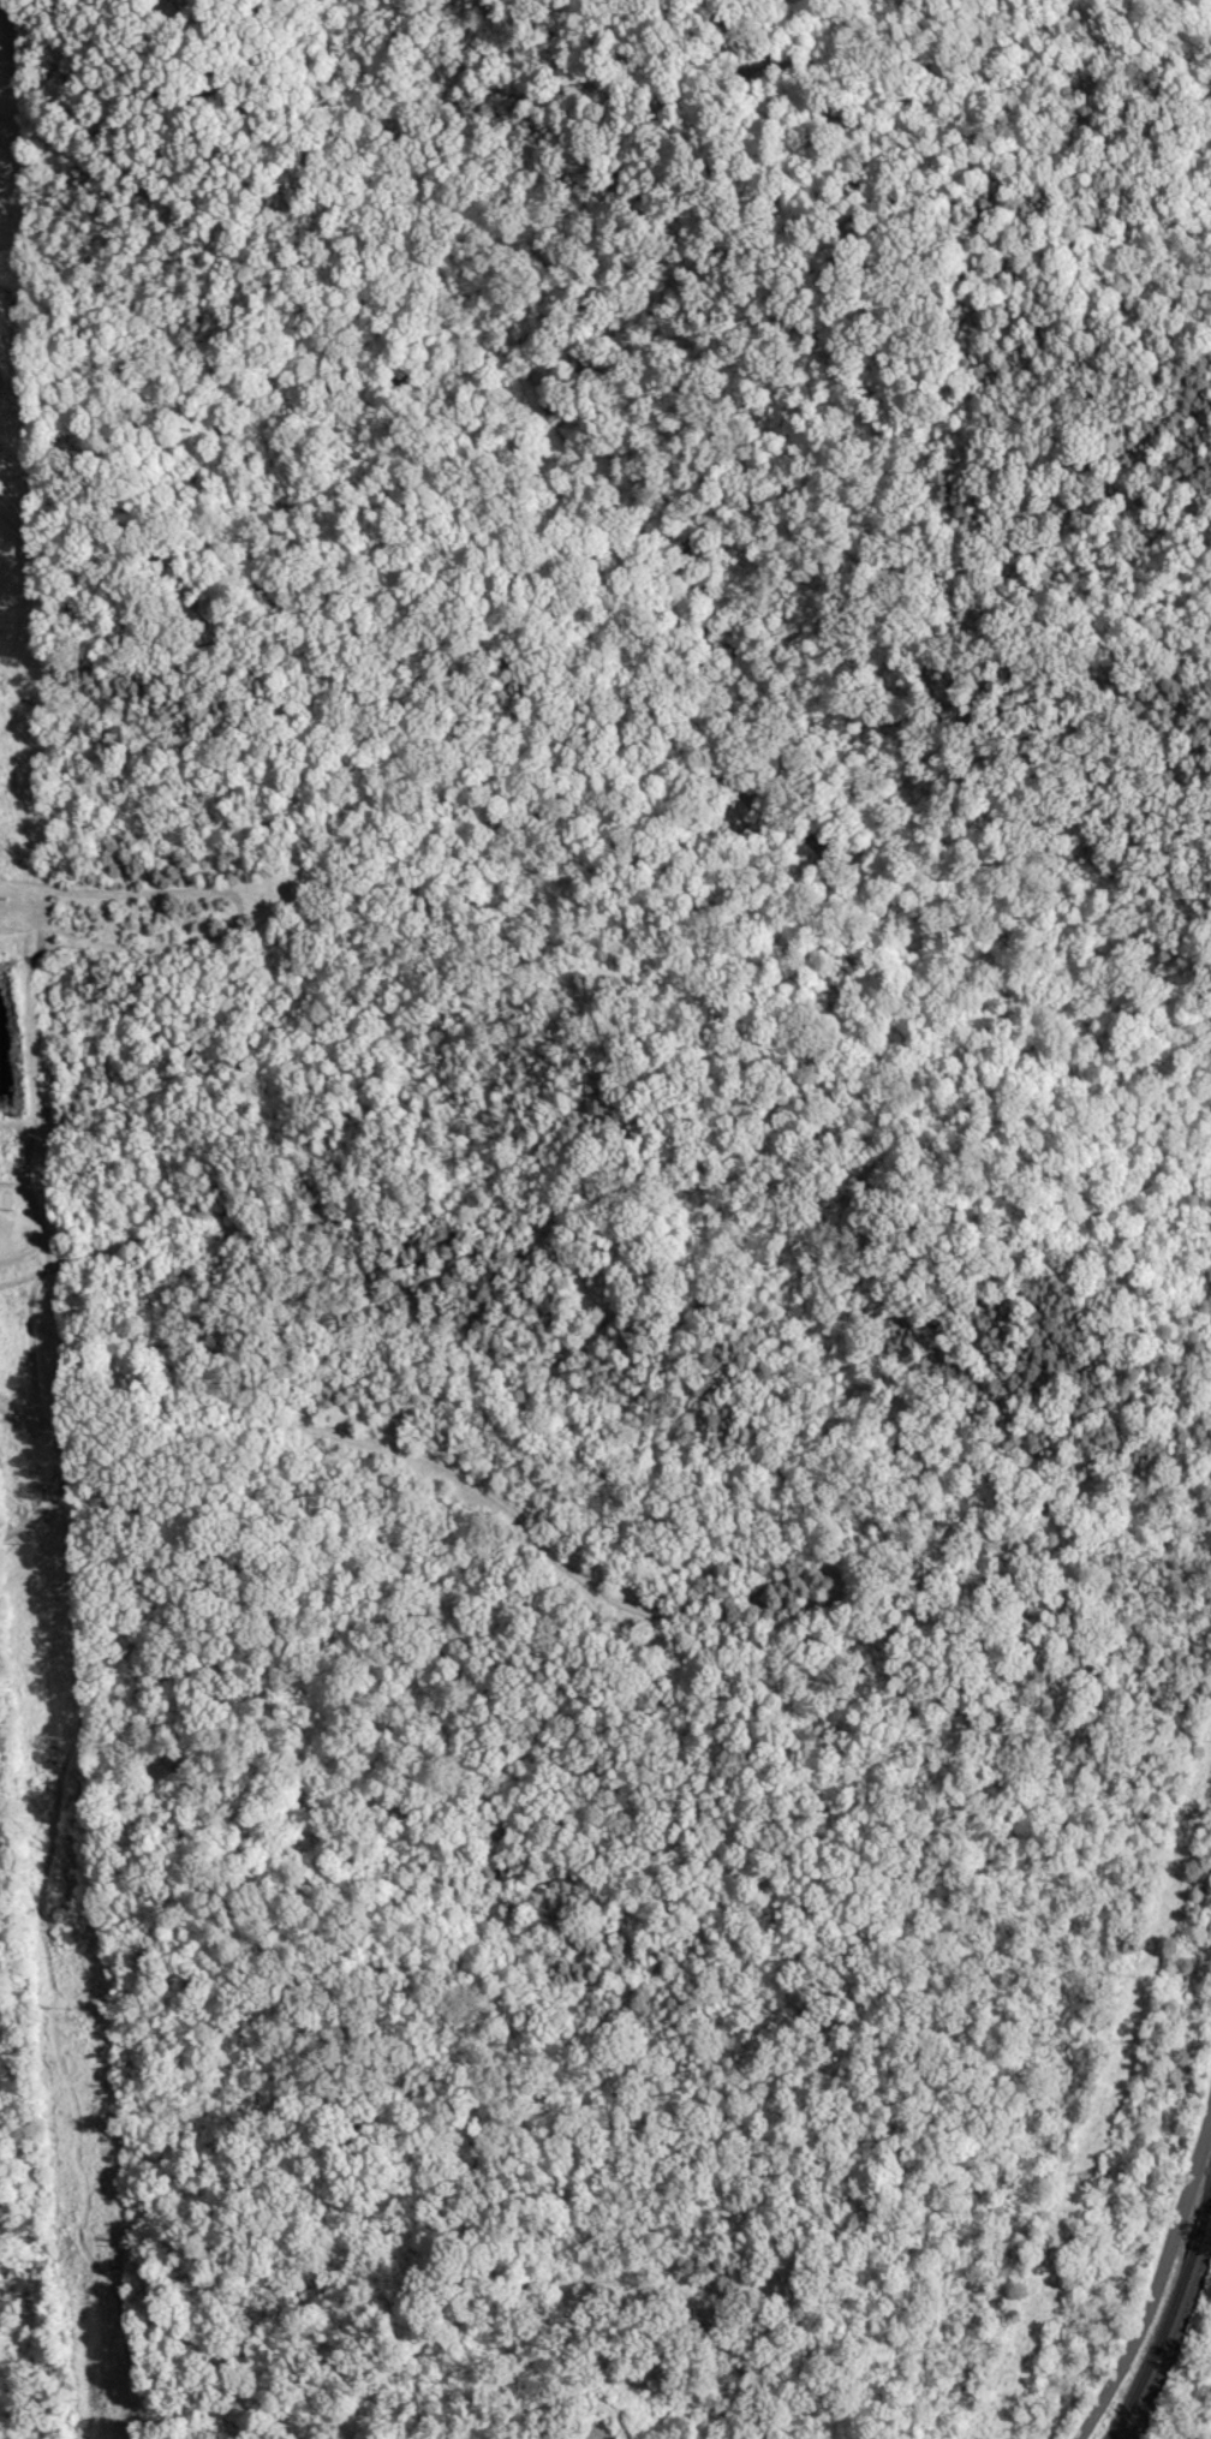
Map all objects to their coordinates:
road: (1158, 2253)
railway: (1168, 2312)

